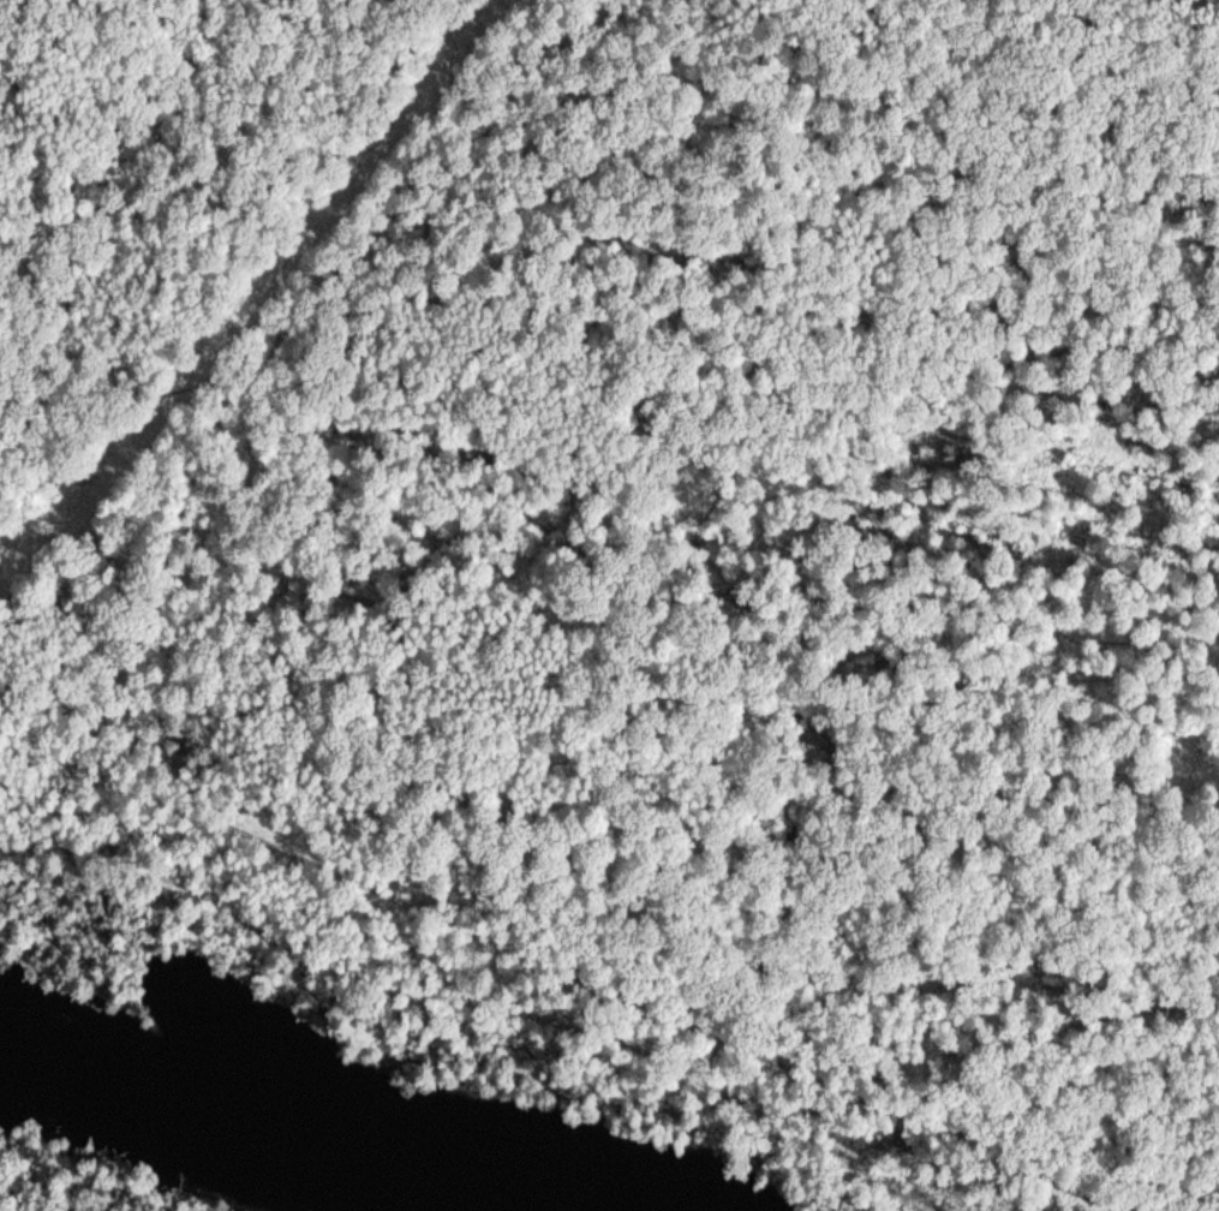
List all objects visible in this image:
road: (490, 1019)

